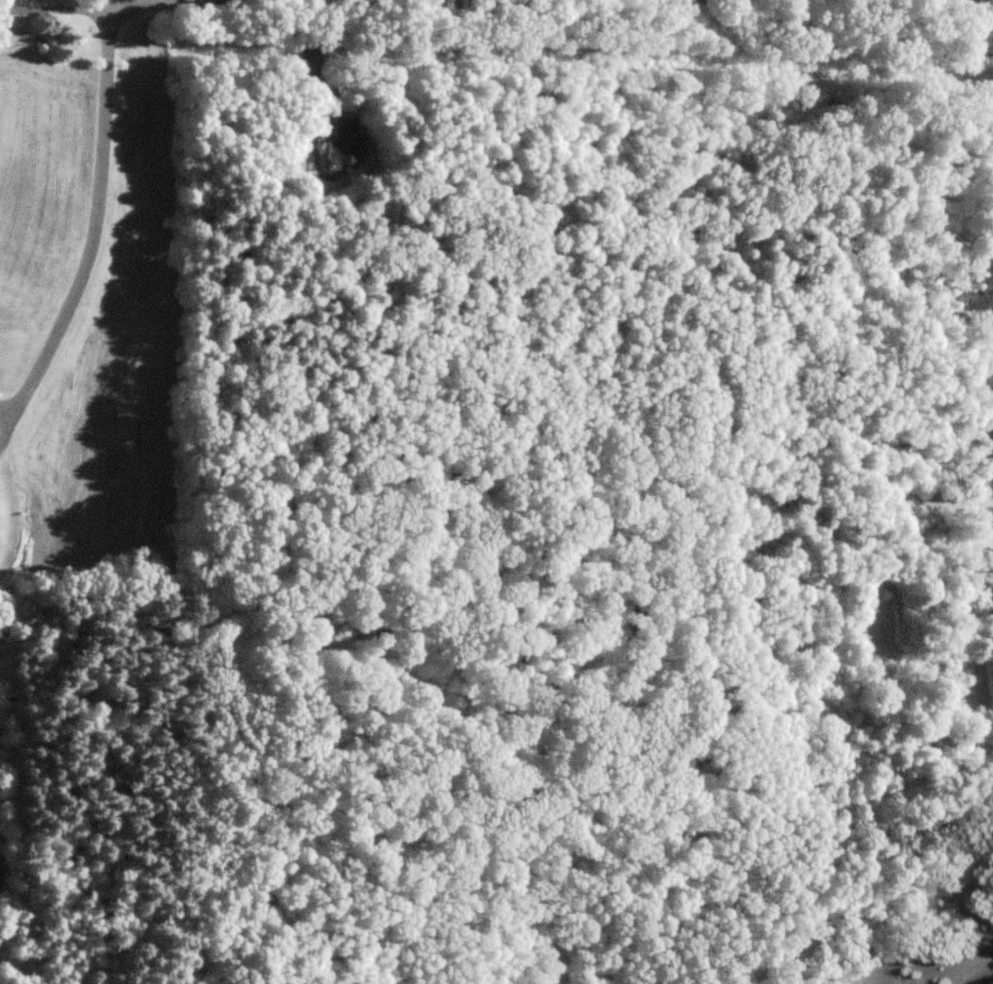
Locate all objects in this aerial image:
road: (107, 4)
road: (306, 4)
road: (6, 5)
road: (53, 9)
building: (345, 144)
road: (92, 235)
building: (302, 568)
building: (992, 589)
road: (977, 974)

